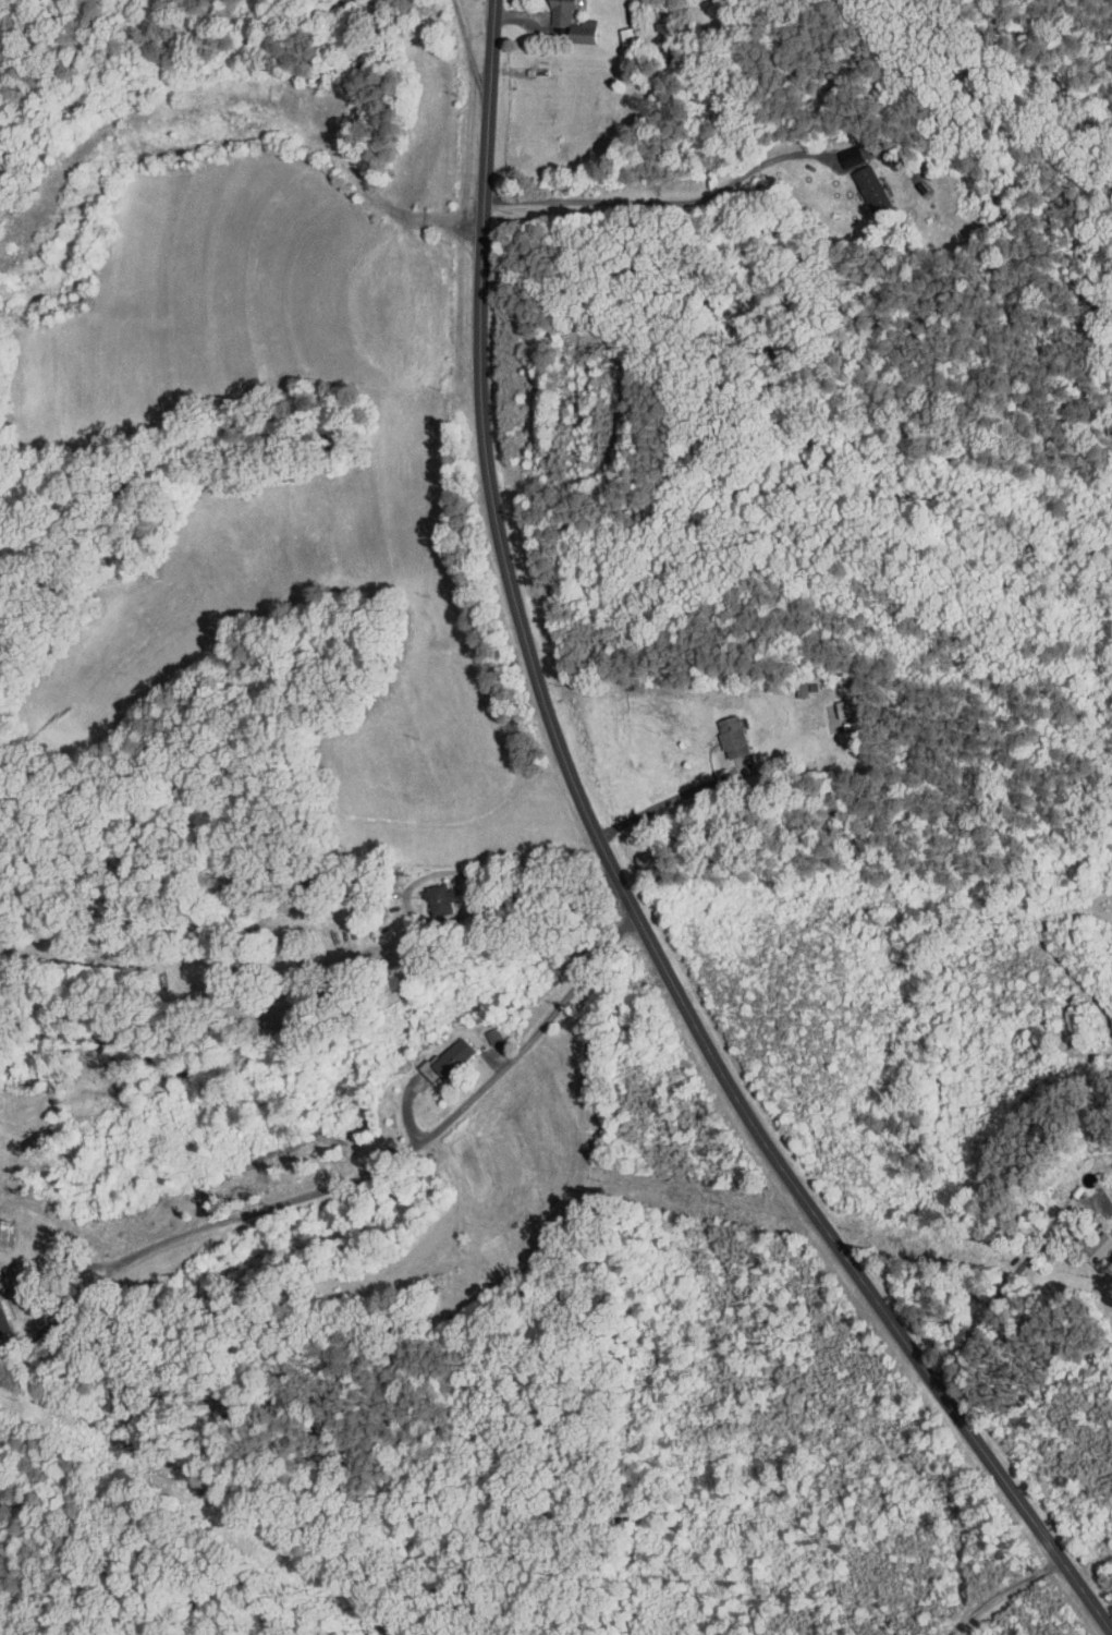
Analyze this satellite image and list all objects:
building: (559, 19)
building: (612, 28)
road: (469, 49)
building: (856, 181)
road: (657, 201)
building: (829, 702)
building: (718, 730)
road: (671, 798)
road: (444, 871)
road: (619, 877)
building: (427, 894)
building: (432, 1053)
road: (445, 1122)
building: (1079, 1239)
road: (1007, 1282)
road: (93, 1285)
road: (1003, 1591)

